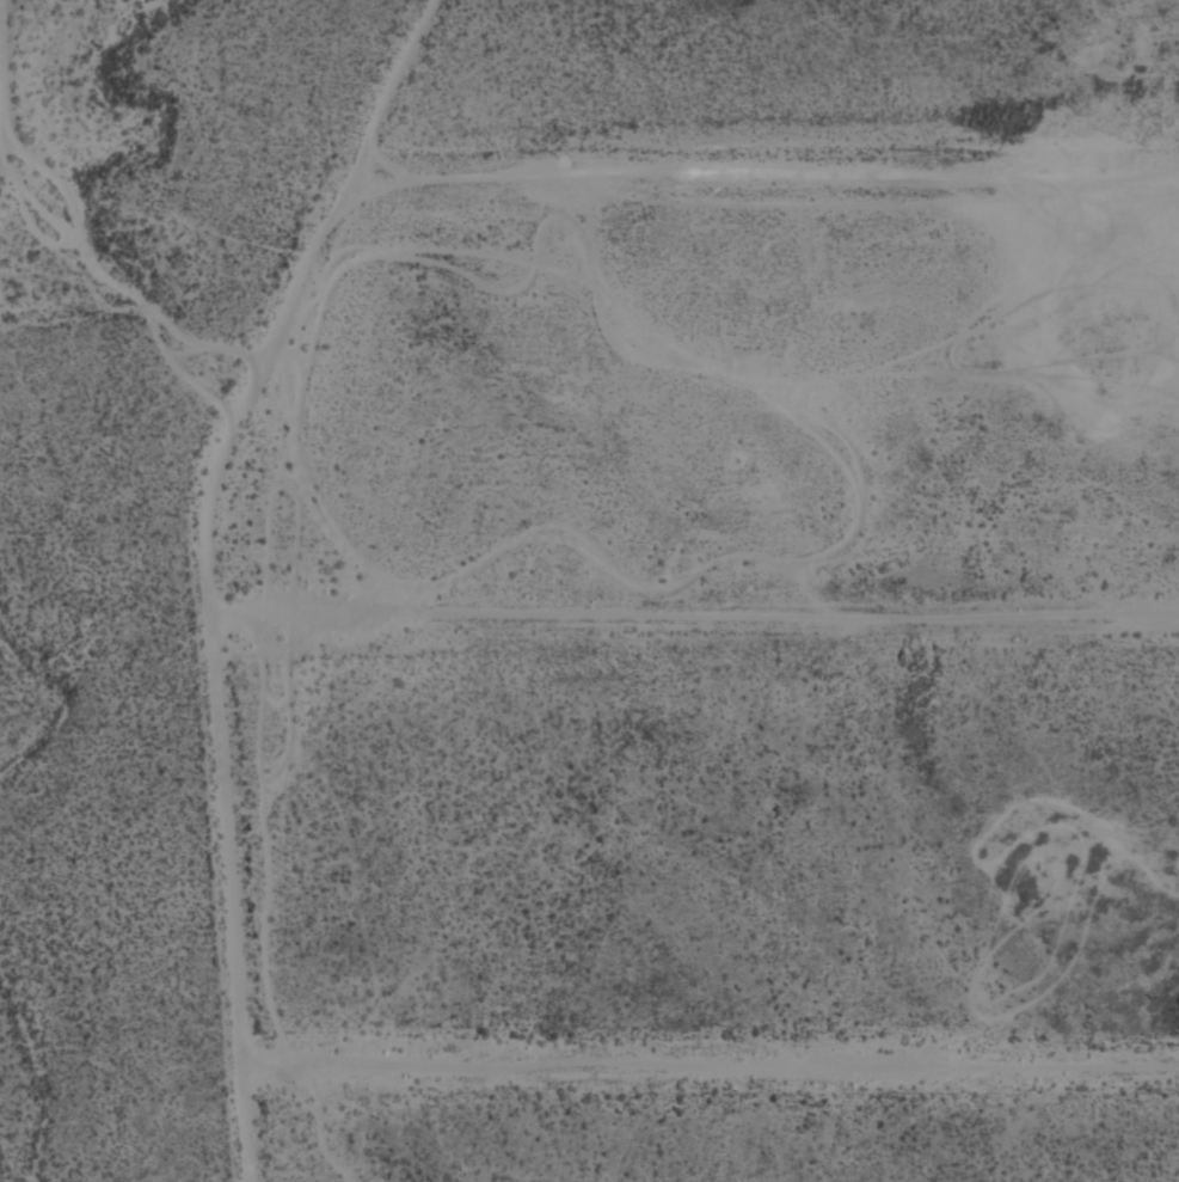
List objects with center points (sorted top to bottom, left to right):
road: (210, 565)

